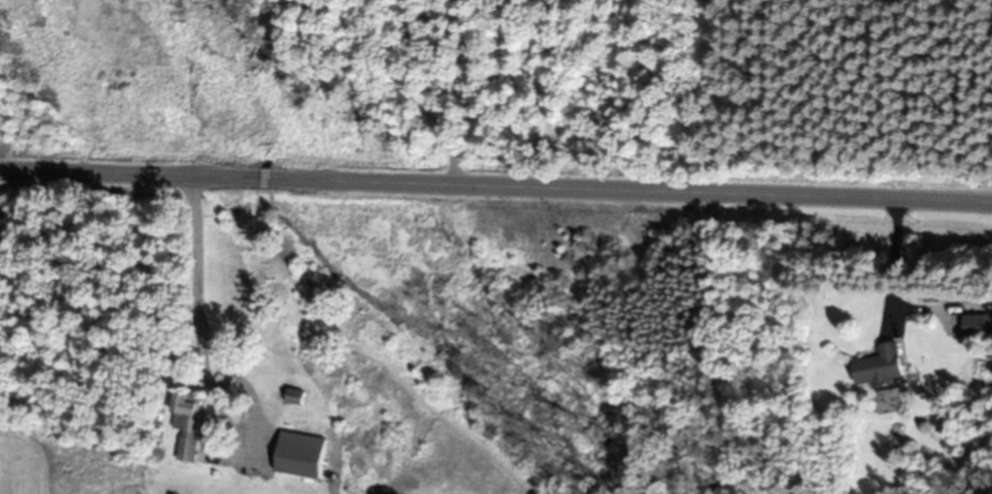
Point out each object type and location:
road: (495, 183)
building: (978, 324)
building: (882, 367)
building: (297, 396)
building: (189, 423)
building: (303, 455)

